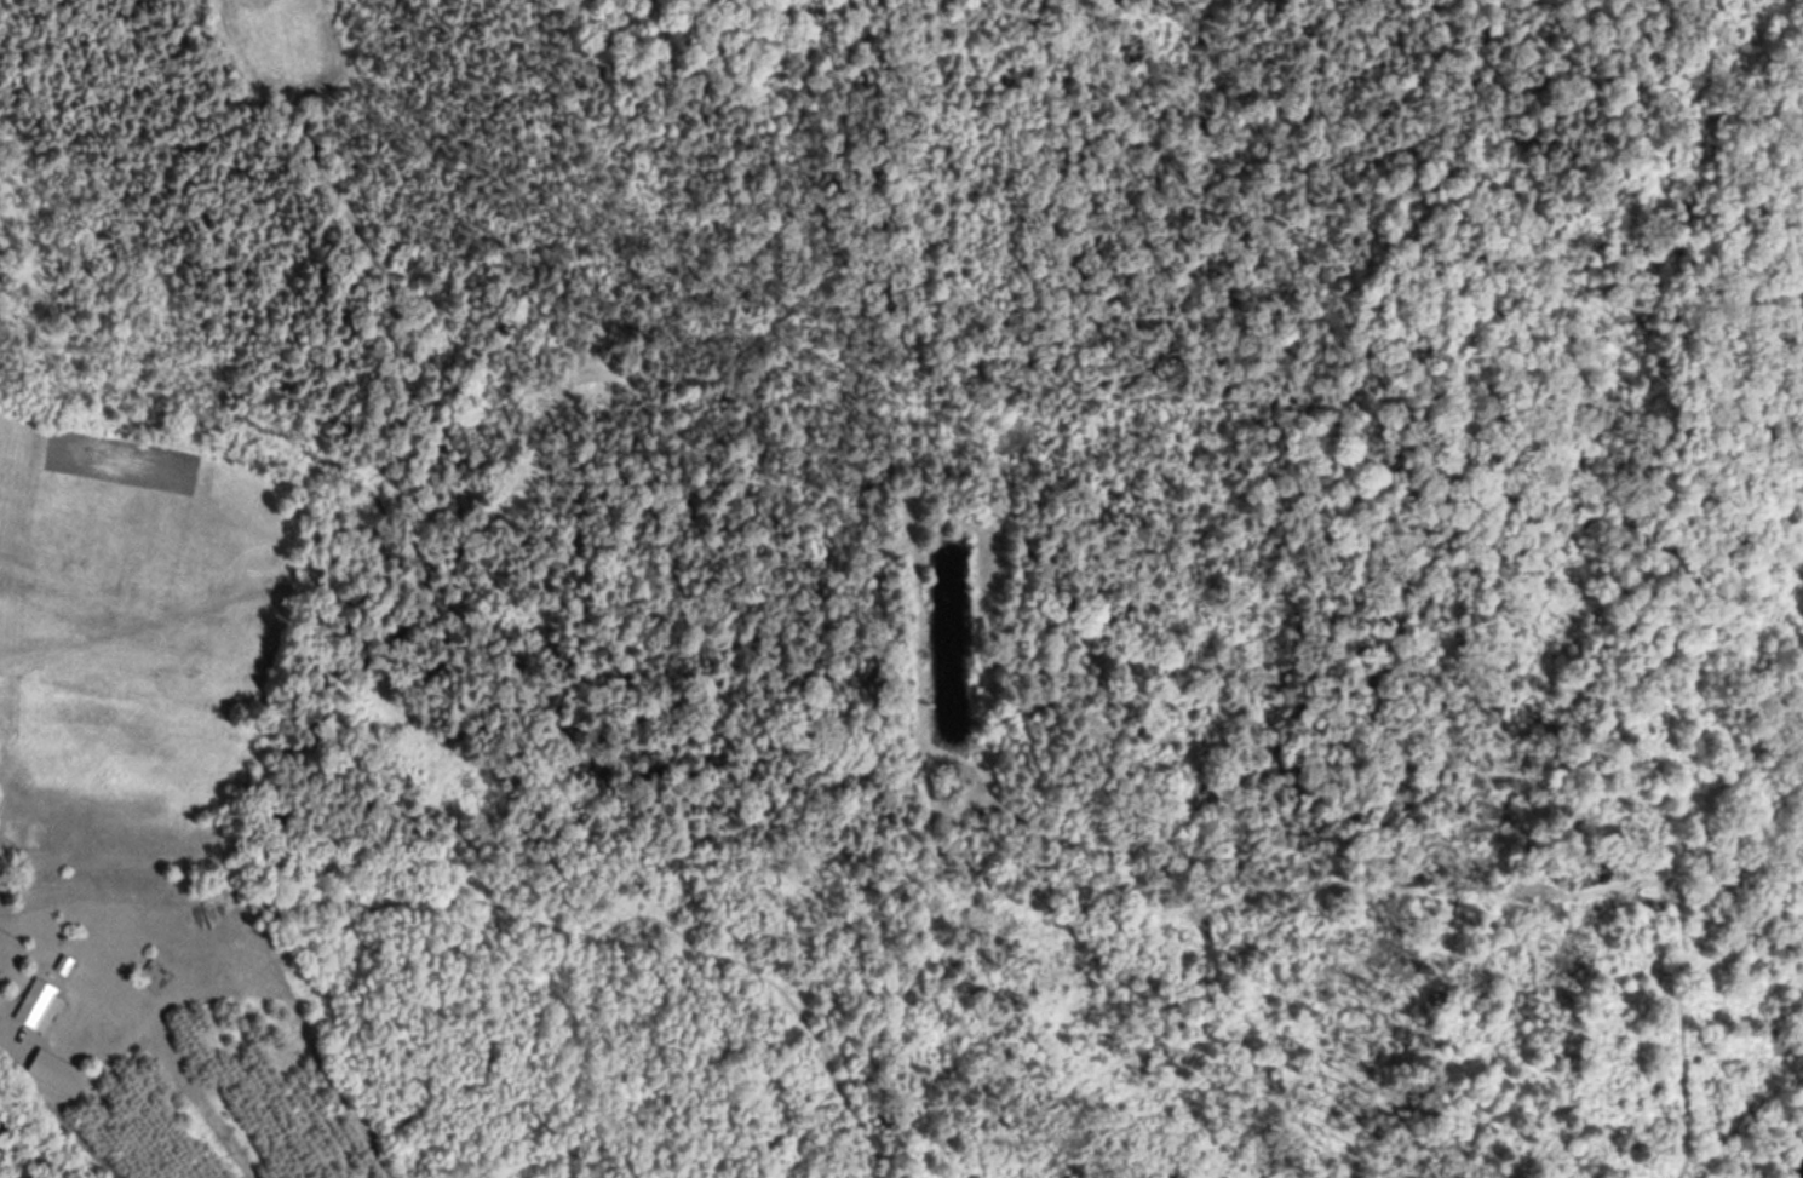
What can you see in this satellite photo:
building: (31, 1001)
building: (50, 1071)

